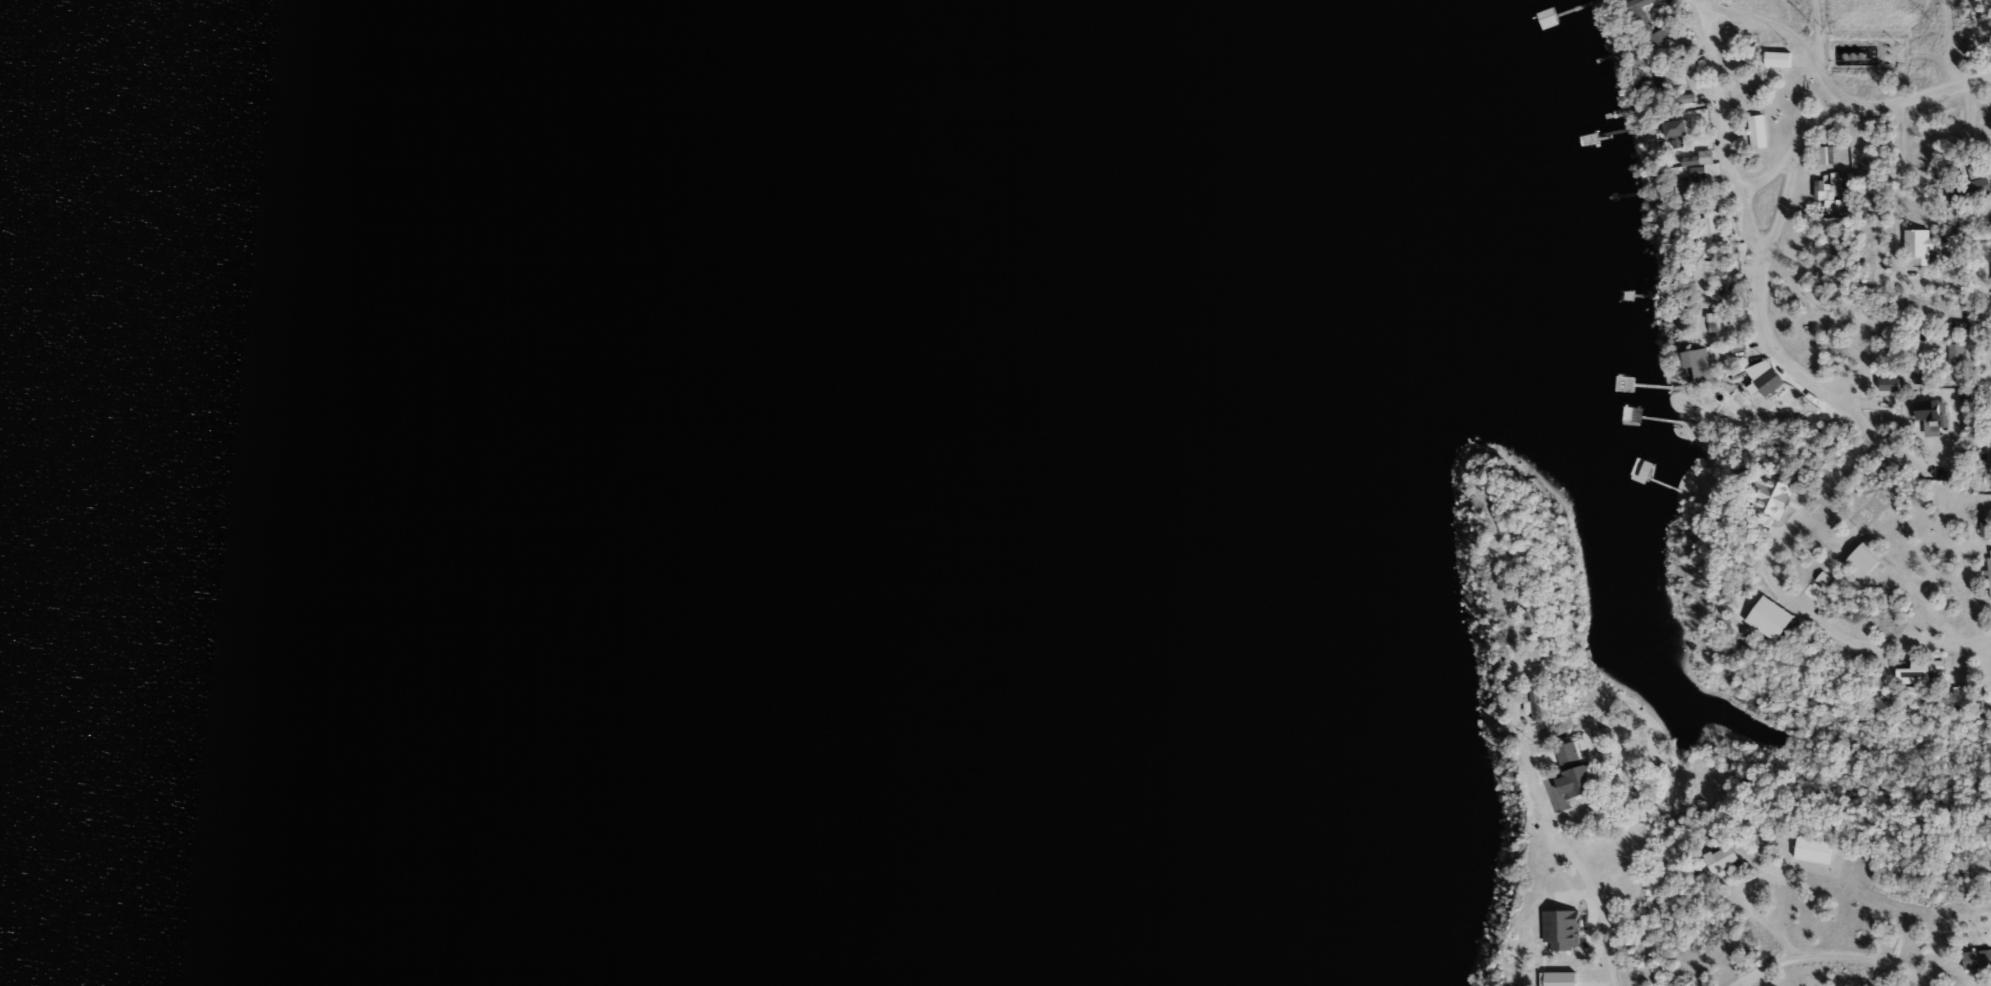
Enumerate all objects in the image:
building: (1663, 1)
building: (1550, 18)
building: (1648, 23)
road: (1782, 36)
building: (1748, 59)
building: (1658, 80)
building: (1685, 100)
building: (1679, 128)
building: (1756, 131)
road: (1815, 131)
building: (1824, 155)
road: (1730, 156)
building: (1702, 172)
building: (1973, 188)
building: (1823, 189)
building: (1845, 200)
road: (1890, 208)
building: (1712, 231)
building: (1917, 246)
building: (1955, 353)
building: (1703, 364)
building: (1931, 415)
building: (1776, 500)
road: (1778, 533)
building: (1866, 559)
building: (1989, 574)
building: (1915, 683)
building: (1577, 771)
road: (1553, 809)
building: (1816, 850)
building: (1728, 858)
road: (1764, 920)
road: (1830, 955)
building: (1977, 959)

